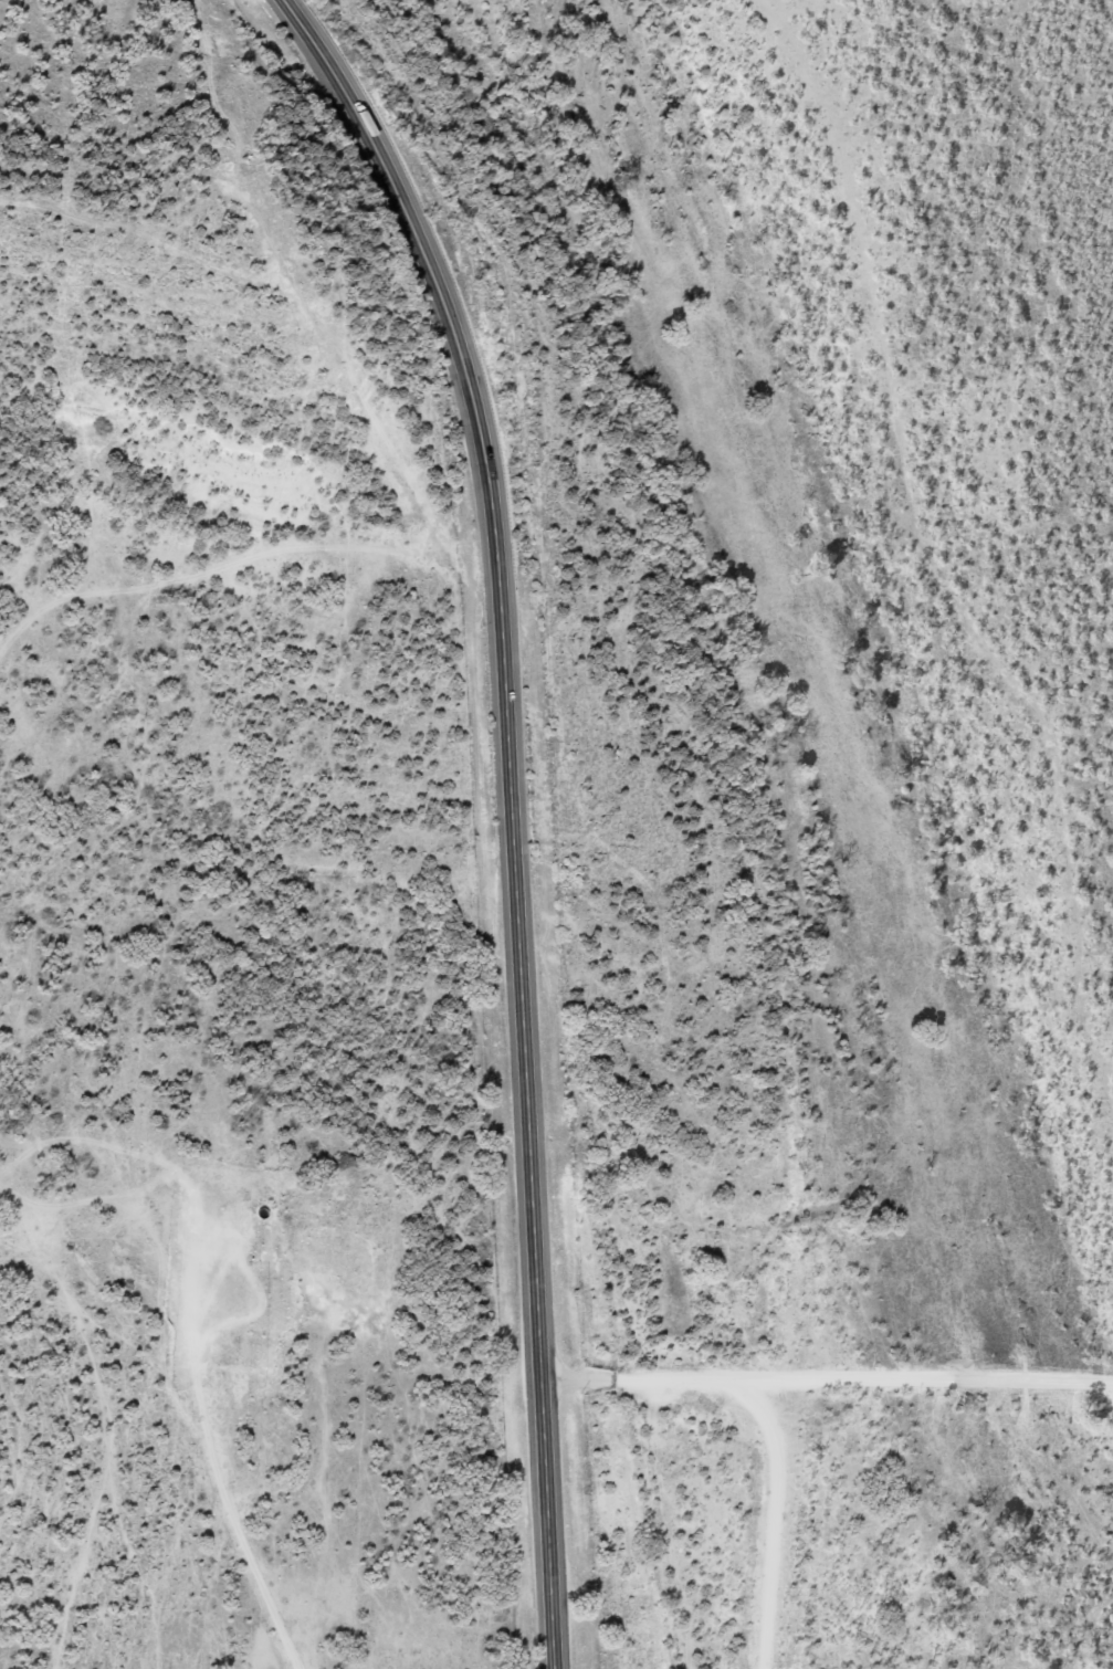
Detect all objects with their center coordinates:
river: (847, 778)
road: (508, 809)
road: (827, 1382)

